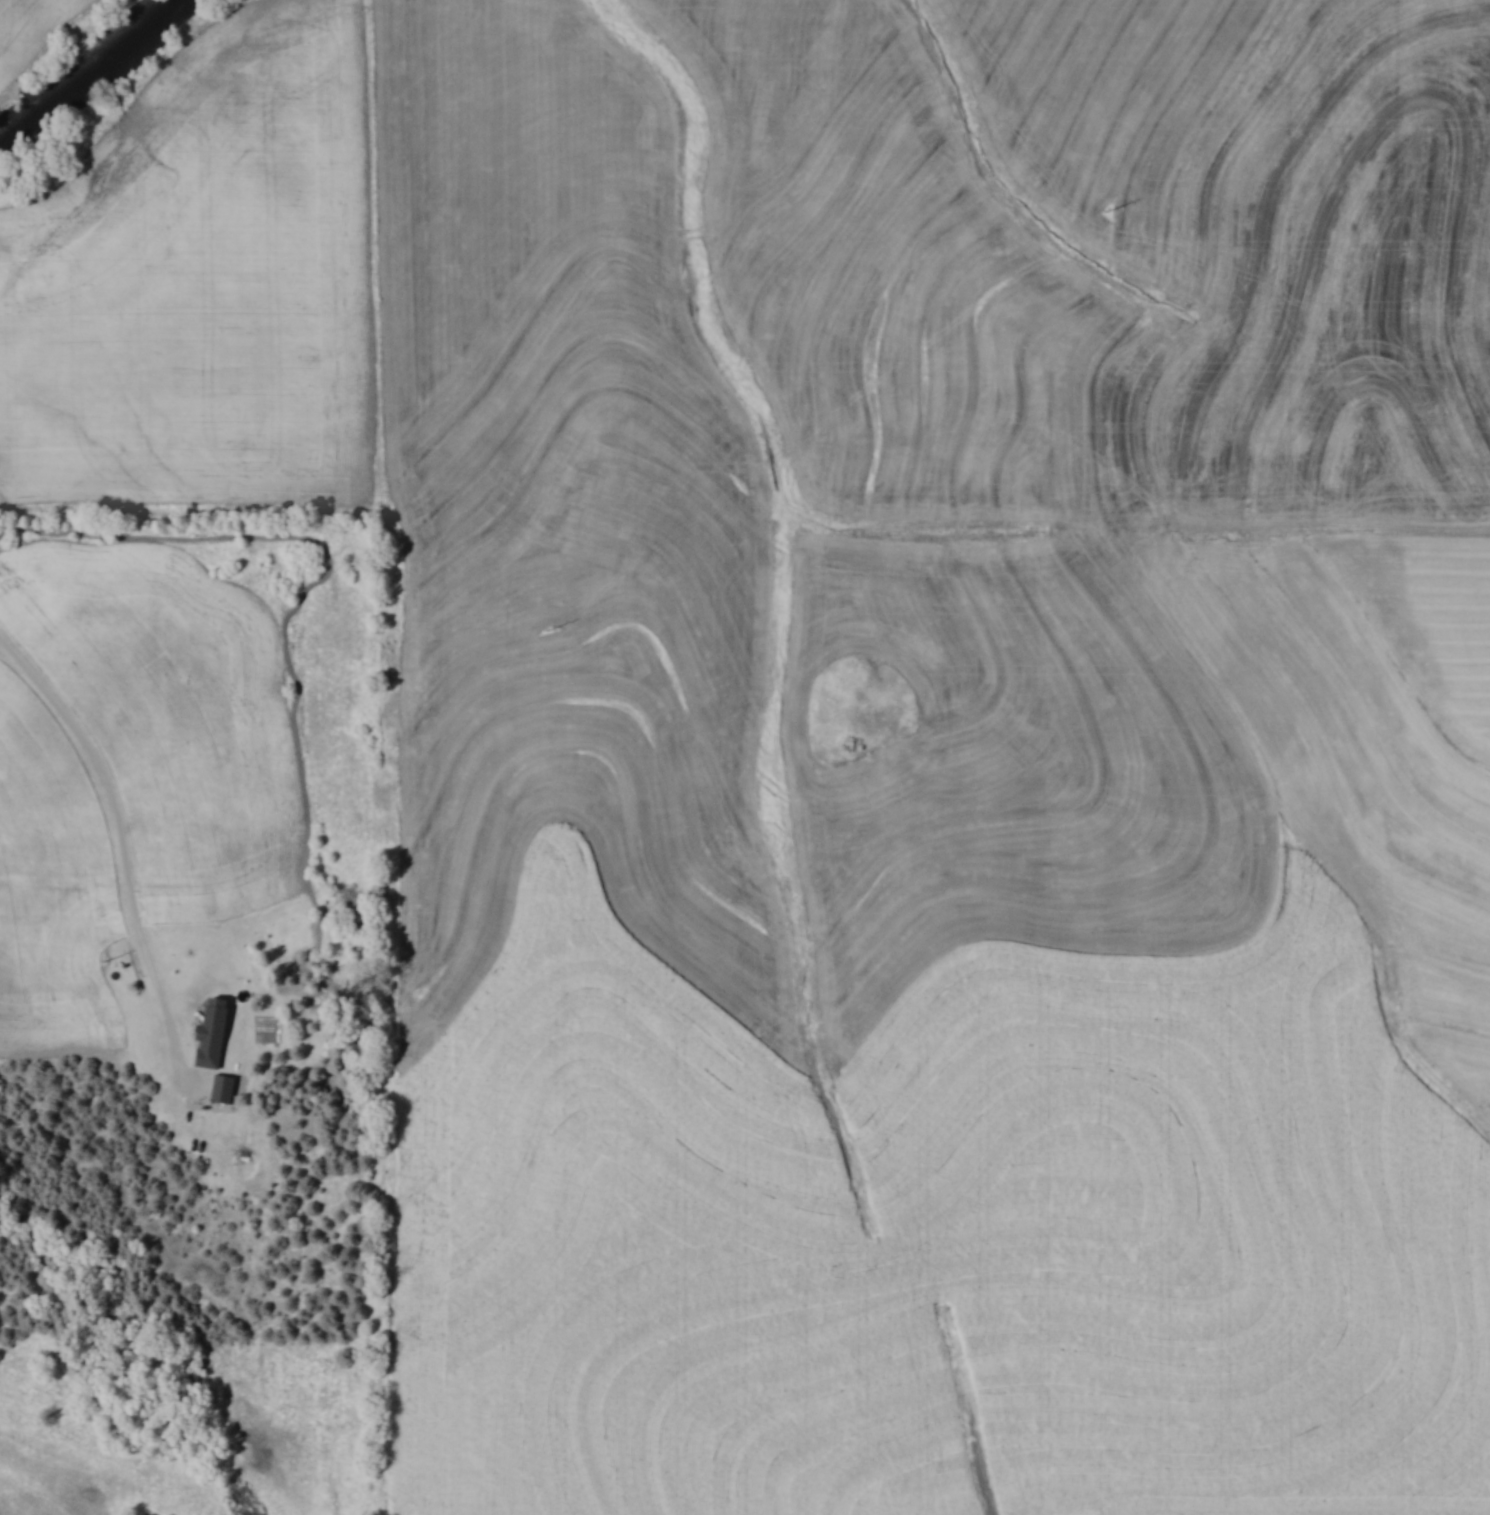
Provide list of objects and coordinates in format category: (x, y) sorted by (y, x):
road: (122, 851)
building: (215, 1037)
building: (225, 1089)

